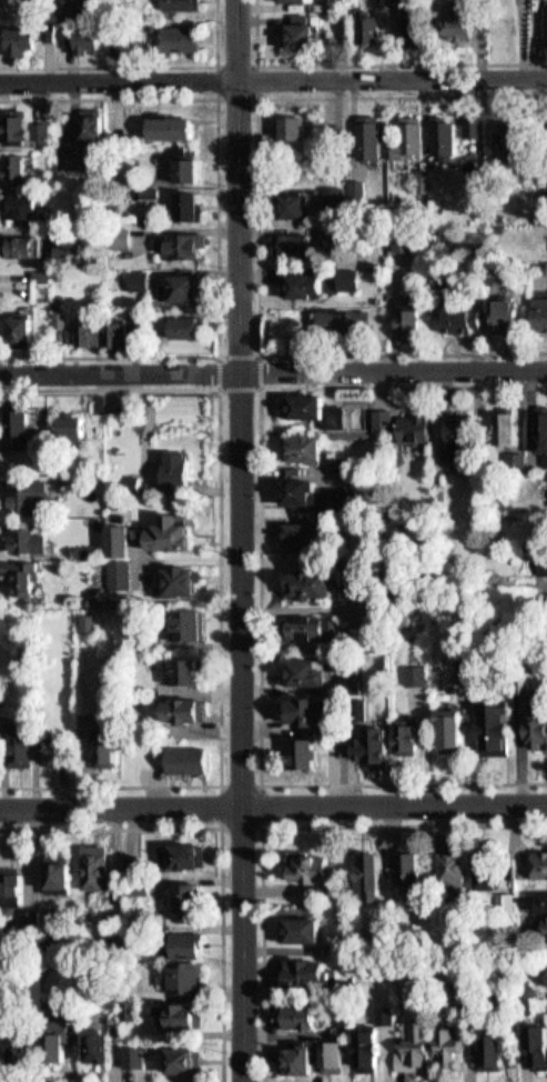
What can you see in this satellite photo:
building: (169, 0)
building: (300, 0)
building: (67, 4)
building: (456, 11)
building: (405, 12)
building: (541, 18)
building: (417, 21)
building: (45, 22)
building: (361, 22)
building: (293, 24)
building: (369, 29)
building: (88, 31)
building: (179, 31)
building: (13, 33)
building: (23, 41)
road: (368, 56)
road: (131, 60)
road: (386, 72)
road: (112, 74)
road: (246, 88)
building: (464, 119)
building: (164, 120)
building: (282, 120)
building: (84, 122)
building: (13, 123)
building: (40, 124)
building: (475, 127)
building: (176, 128)
building: (505, 128)
building: (95, 129)
building: (293, 129)
building: (434, 129)
building: (365, 130)
building: (401, 130)
building: (517, 136)
building: (411, 139)
building: (446, 139)
building: (67, 151)
building: (78, 158)
building: (10, 159)
building: (180, 163)
building: (20, 166)
building: (192, 170)
building: (414, 172)
building: (141, 184)
building: (337, 187)
building: (283, 197)
building: (183, 199)
building: (16, 200)
building: (298, 203)
building: (192, 206)
building: (533, 211)
road: (246, 218)
road: (206, 220)
building: (393, 234)
building: (173, 237)
building: (283, 237)
building: (16, 239)
building: (405, 240)
building: (62, 247)
building: (74, 251)
building: (490, 268)
building: (33, 269)
building: (338, 271)
building: (129, 272)
building: (351, 278)
building: (300, 279)
building: (140, 280)
building: (179, 281)
building: (51, 291)
building: (496, 309)
building: (535, 309)
building: (51, 310)
building: (336, 310)
building: (401, 311)
building: (129, 312)
building: (447, 313)
building: (510, 315)
building: (61, 319)
building: (180, 319)
building: (463, 319)
building: (140, 320)
building: (345, 321)
building: (13, 322)
building: (412, 324)
building: (192, 327)
building: (77, 328)
building: (109, 328)
building: (27, 330)
building: (92, 333)
building: (120, 333)
road: (387, 361)
road: (114, 363)
road: (247, 381)
building: (314, 400)
building: (379, 408)
building: (16, 417)
building: (381, 418)
building: (415, 419)
building: (506, 419)
building: (67, 420)
building: (462, 424)
building: (77, 428)
building: (540, 433)
building: (310, 439)
building: (120, 457)
building: (342, 457)
building: (171, 462)
building: (342, 465)
building: (183, 470)
building: (153, 474)
road: (211, 478)
building: (304, 487)
building: (110, 488)
building: (22, 492)
building: (310, 532)
building: (166, 533)
road: (234, 540)
building: (115, 541)
building: (26, 543)
building: (84, 552)
building: (20, 574)
road: (256, 575)
building: (119, 577)
building: (178, 582)
building: (541, 582)
building: (320, 583)
building: (94, 601)
building: (88, 623)
building: (185, 625)
building: (313, 625)
building: (474, 671)
building: (183, 672)
building: (313, 672)
building: (371, 705)
building: (320, 708)
building: (179, 710)
building: (500, 728)
building: (539, 729)
building: (457, 730)
building: (416, 739)
building: (379, 745)
building: (44, 750)
building: (17, 751)
building: (103, 753)
building: (312, 754)
building: (185, 759)
road: (262, 784)
road: (111, 785)
road: (394, 804)
road: (120, 807)
road: (277, 825)
road: (222, 844)
building: (182, 856)
building: (541, 860)
building: (373, 862)
building: (94, 866)
building: (493, 866)
building: (305, 868)
building: (405, 871)
building: (450, 871)
building: (57, 872)
building: (365, 876)
building: (10, 885)
building: (544, 899)
building: (185, 901)
building: (505, 903)
building: (30, 915)
building: (544, 925)
building: (301, 931)
building: (345, 943)
building: (184, 944)
building: (301, 971)
building: (185, 979)
building: (526, 994)
building: (129, 1010)
building: (174, 1014)
building: (384, 1015)
building: (296, 1020)
building: (57, 1040)
building: (456, 1044)
building: (94, 1045)
building: (535, 1045)
building: (445, 1046)
building: (26, 1048)
building: (409, 1048)
building: (487, 1050)
building: (364, 1051)
building: (333, 1056)
building: (295, 1060)
building: (181, 1061)

